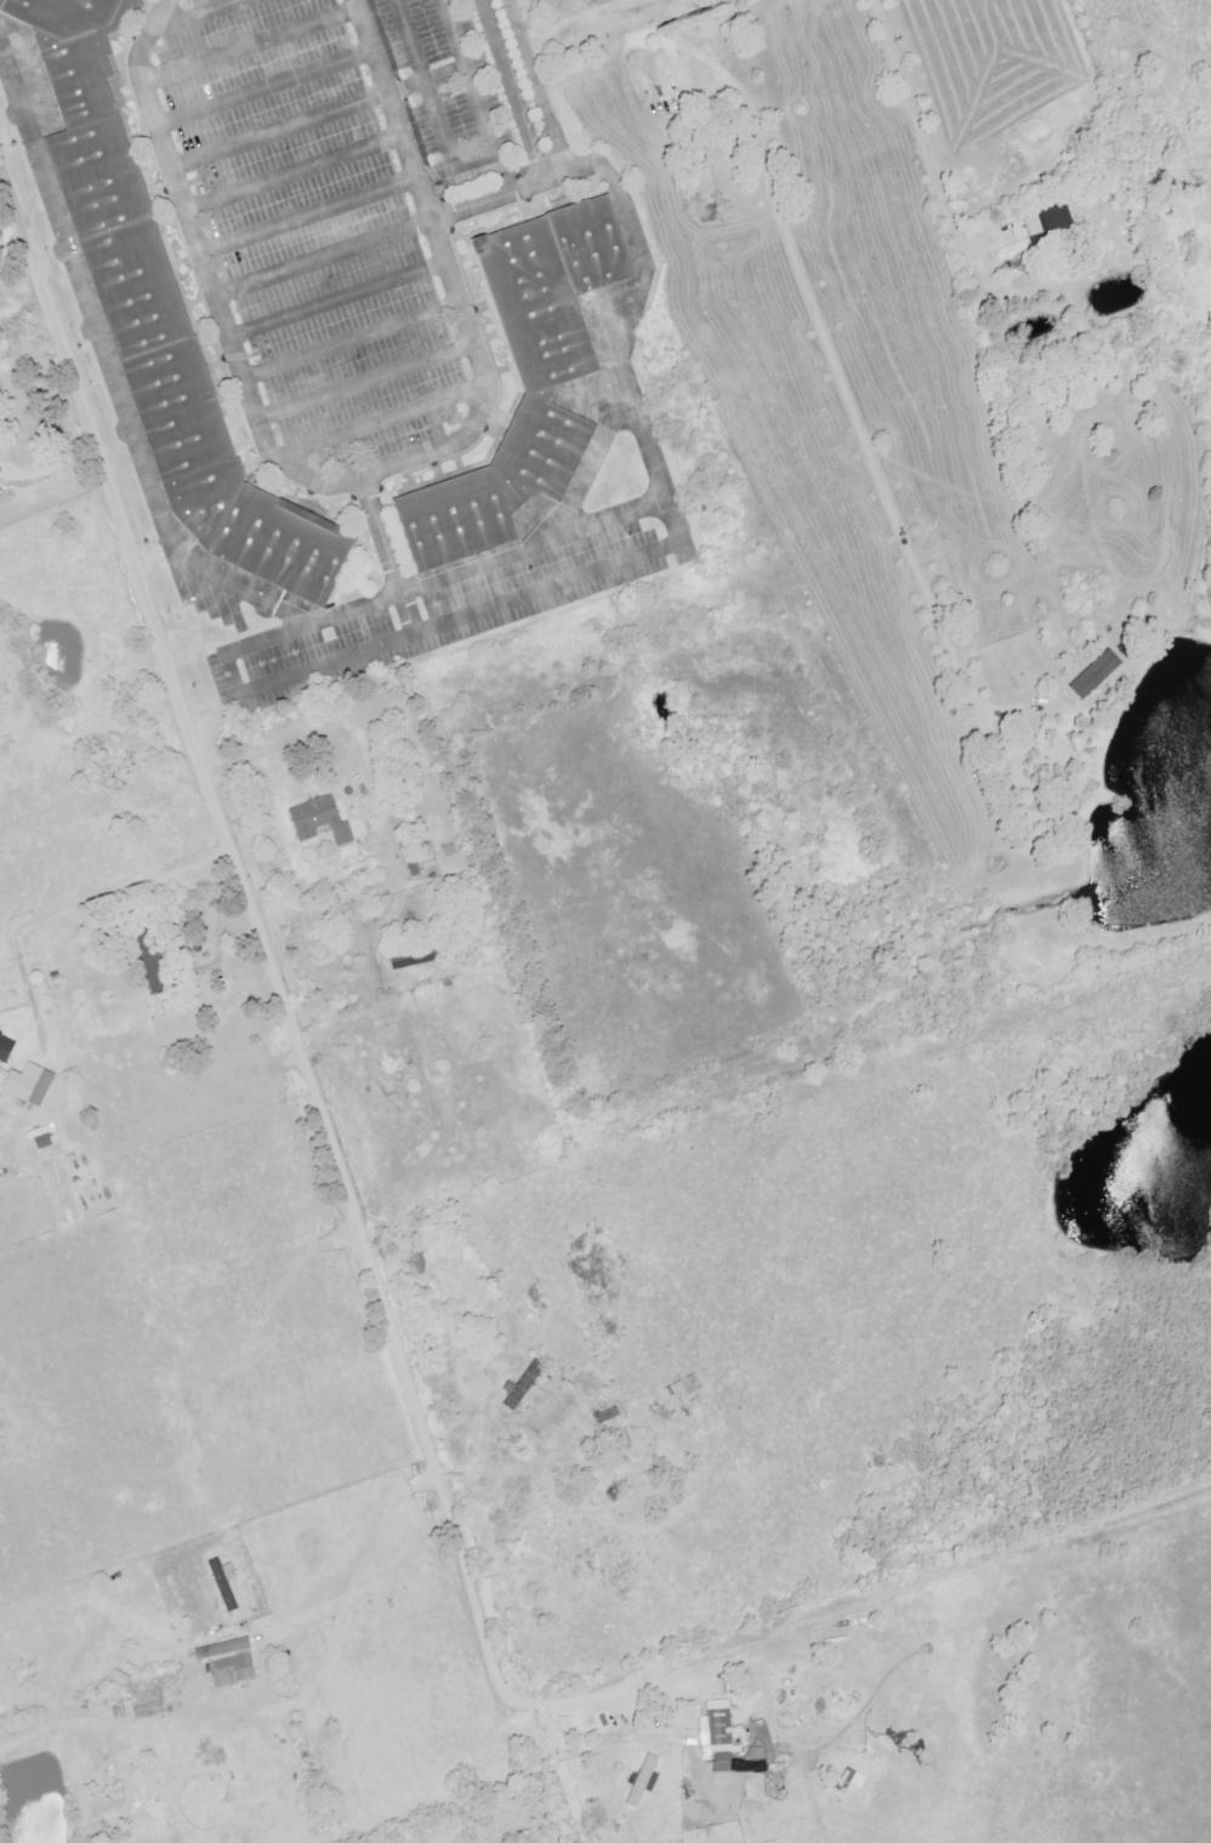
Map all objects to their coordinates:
road: (188, 8)
road: (630, 13)
building: (58, 15)
road: (252, 44)
parking lot: (30, 74)
road: (428, 81)
road: (538, 84)
road: (267, 87)
road: (511, 89)
road: (282, 129)
road: (917, 133)
road: (296, 171)
road: (425, 175)
parking lot: (336, 200)
building: (1059, 218)
building: (1034, 223)
road: (23, 226)
road: (325, 256)
building: (546, 284)
road: (339, 297)
building: (161, 339)
road: (351, 339)
road: (825, 351)
road: (365, 380)
road: (380, 421)
road: (356, 480)
building: (488, 484)
road: (658, 488)
road: (390, 556)
road: (377, 596)
parking lot: (437, 616)
road: (416, 633)
building: (1097, 673)
road: (332, 727)
building: (322, 820)
building: (359, 830)
building: (349, 851)
road: (73, 901)
road: (181, 954)
building: (414, 957)
building: (4, 1053)
road: (305, 1069)
building: (32, 1083)
building: (42, 1138)
building: (524, 1384)
building: (684, 1387)
building: (610, 1420)
building: (224, 1586)
building: (224, 1648)
building: (234, 1668)
road: (608, 1694)
building: (853, 1779)

